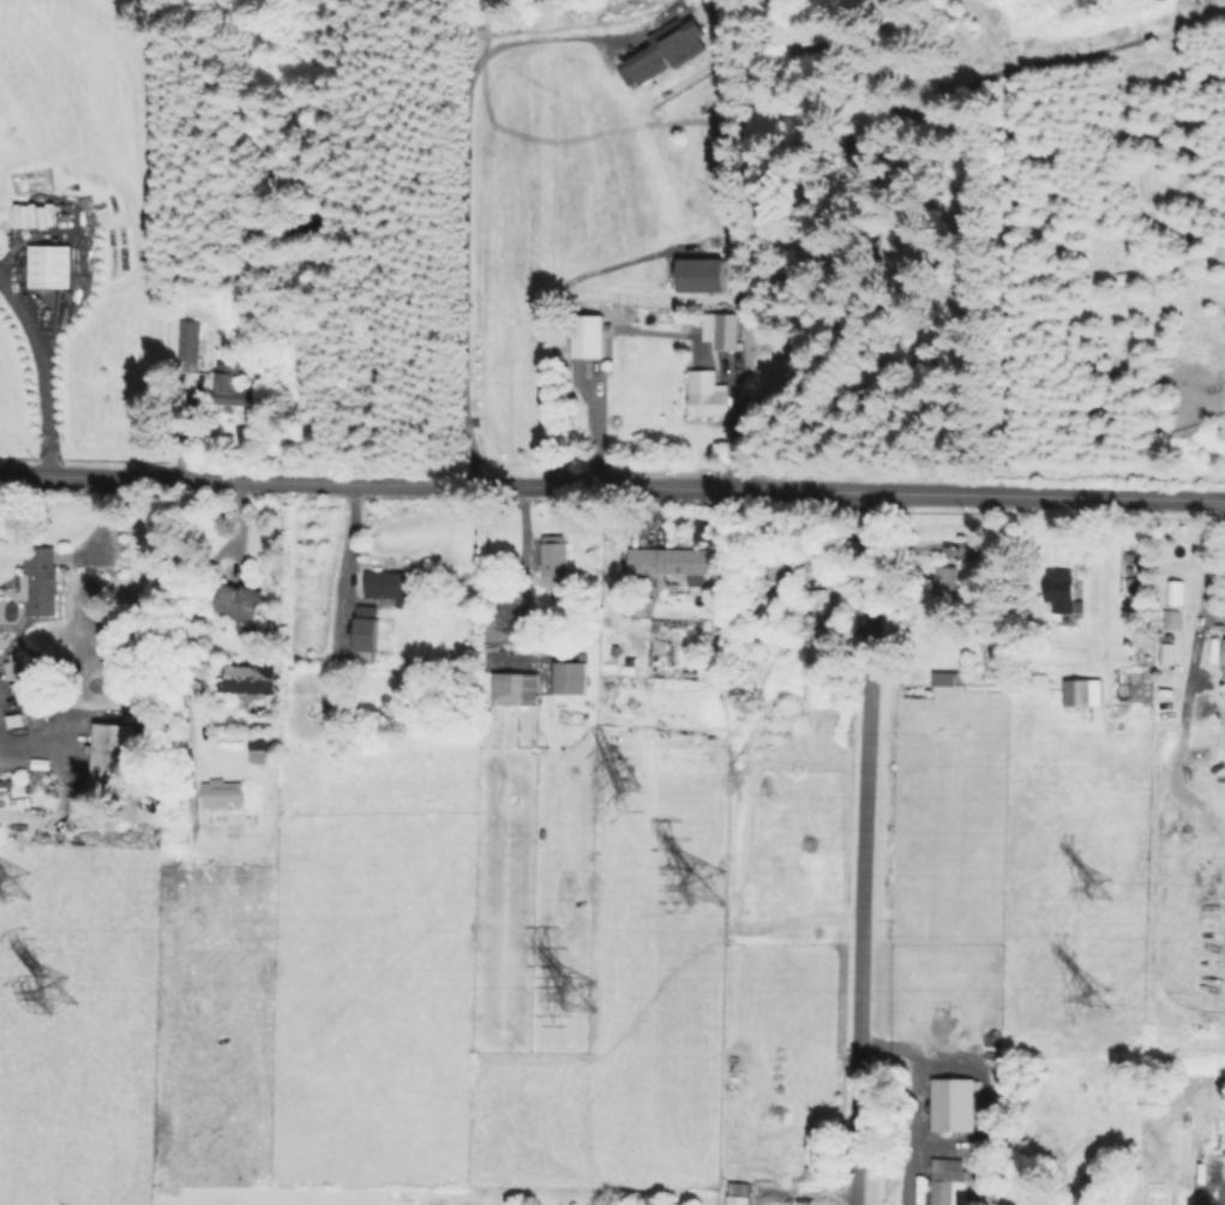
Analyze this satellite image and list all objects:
building: (653, 62)
road: (461, 203)
building: (53, 264)
building: (709, 275)
road: (552, 318)
building: (726, 329)
building: (593, 336)
road: (44, 368)
building: (704, 388)
building: (236, 389)
road: (612, 487)
road: (101, 520)
building: (554, 558)
building: (673, 559)
road: (350, 560)
road: (509, 565)
building: (40, 574)
building: (1064, 596)
building: (245, 599)
building: (370, 628)
building: (246, 677)
building: (570, 677)
building: (947, 677)
building: (516, 688)
building: (1083, 693)
building: (260, 749)
building: (118, 754)
power tower: (624, 780)
building: (224, 793)
road: (863, 847)
power tower: (11, 883)
power tower: (707, 887)
power tower: (1100, 888)
power tower: (580, 994)
power tower: (59, 995)
power tower: (1100, 997)
building: (947, 1181)
building: (738, 1193)

